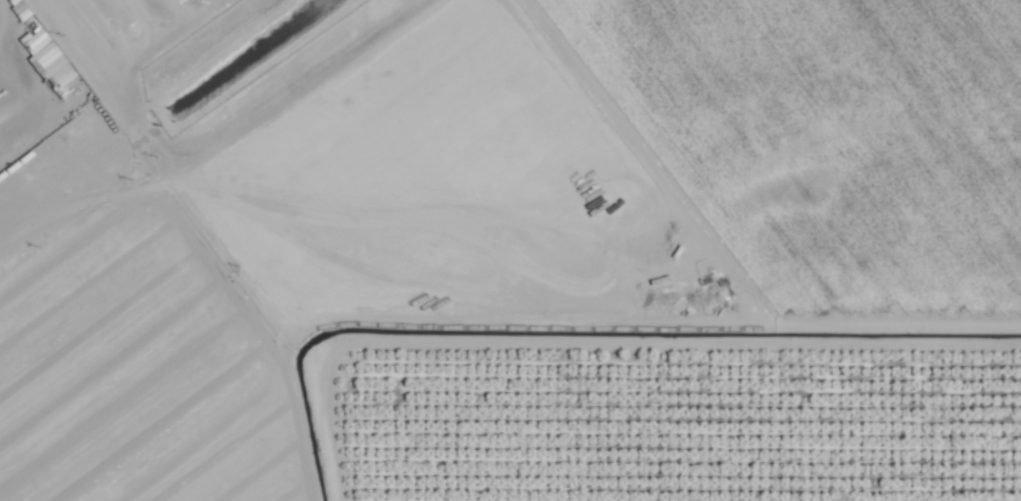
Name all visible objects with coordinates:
crop: (202, 53)
building: (47, 57)
crop: (652, 258)

